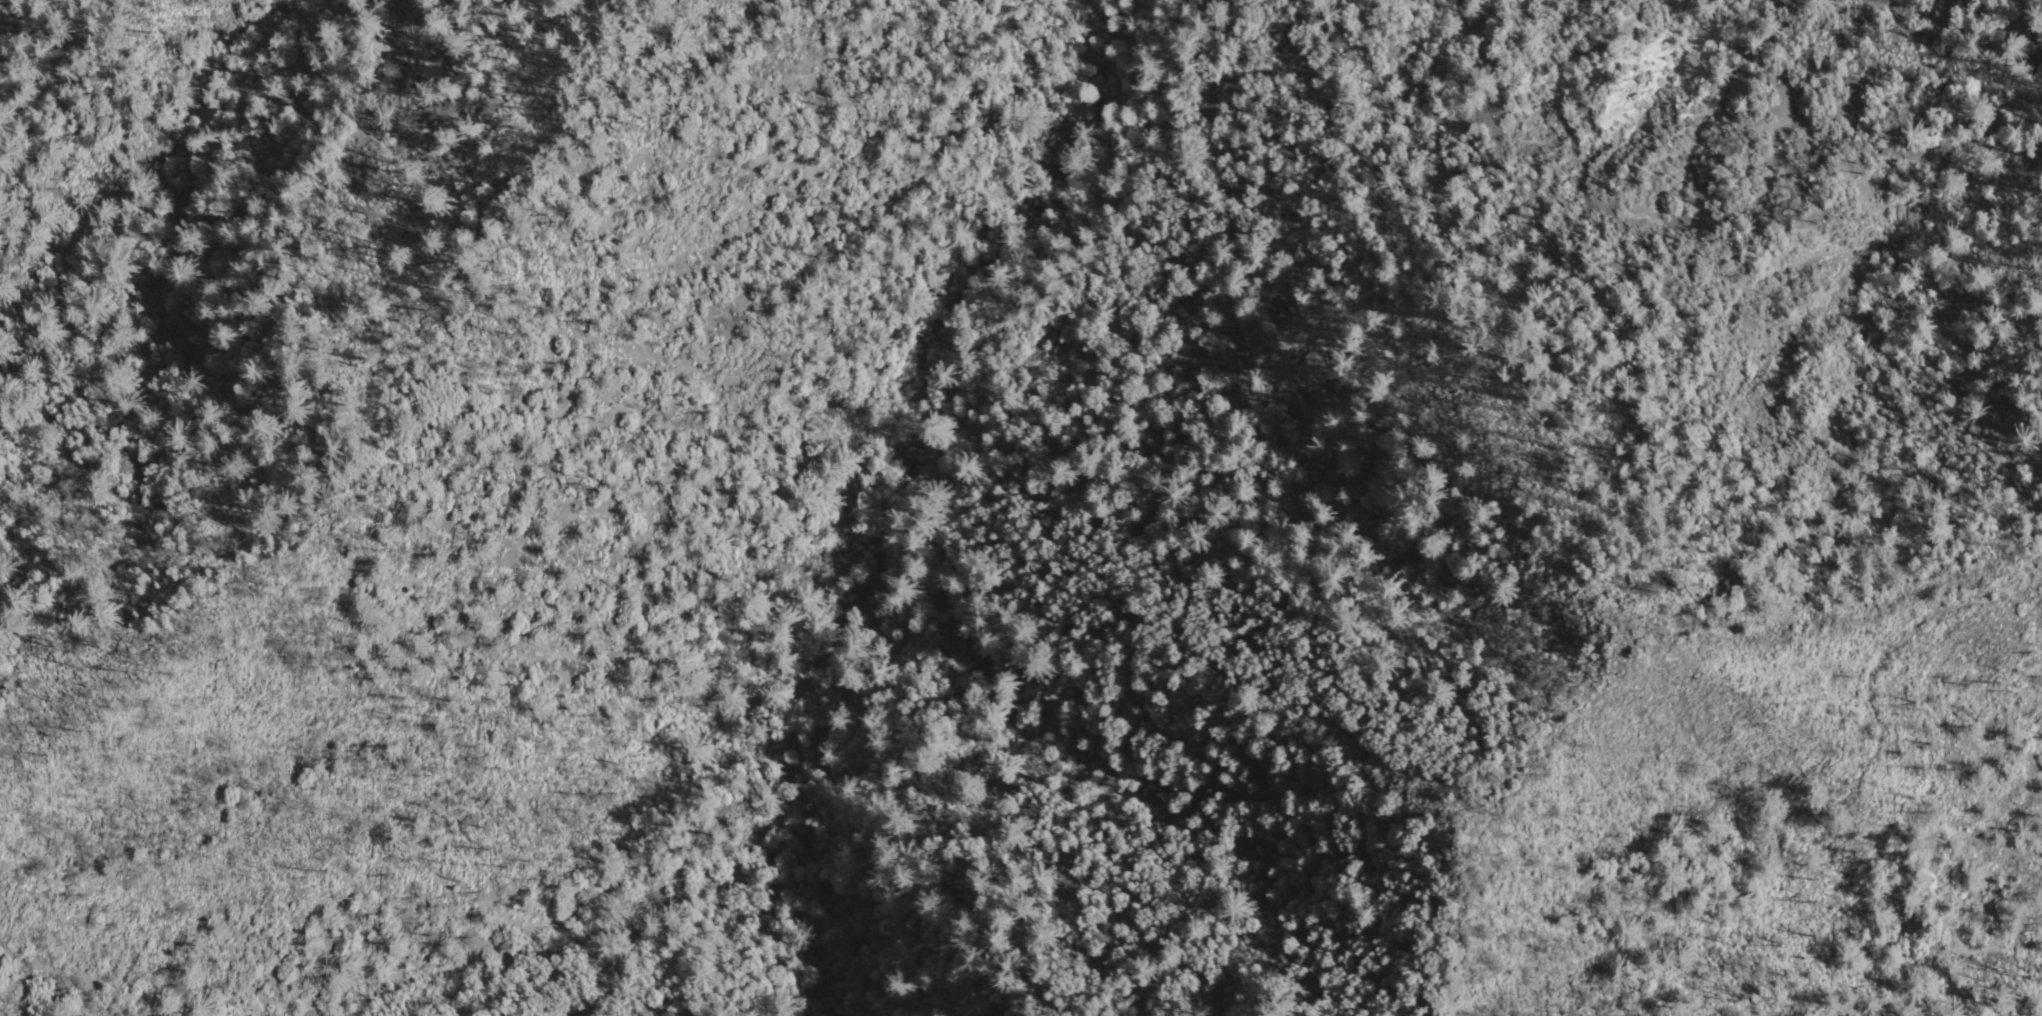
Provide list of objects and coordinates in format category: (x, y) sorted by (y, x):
road: (2020, 581)

